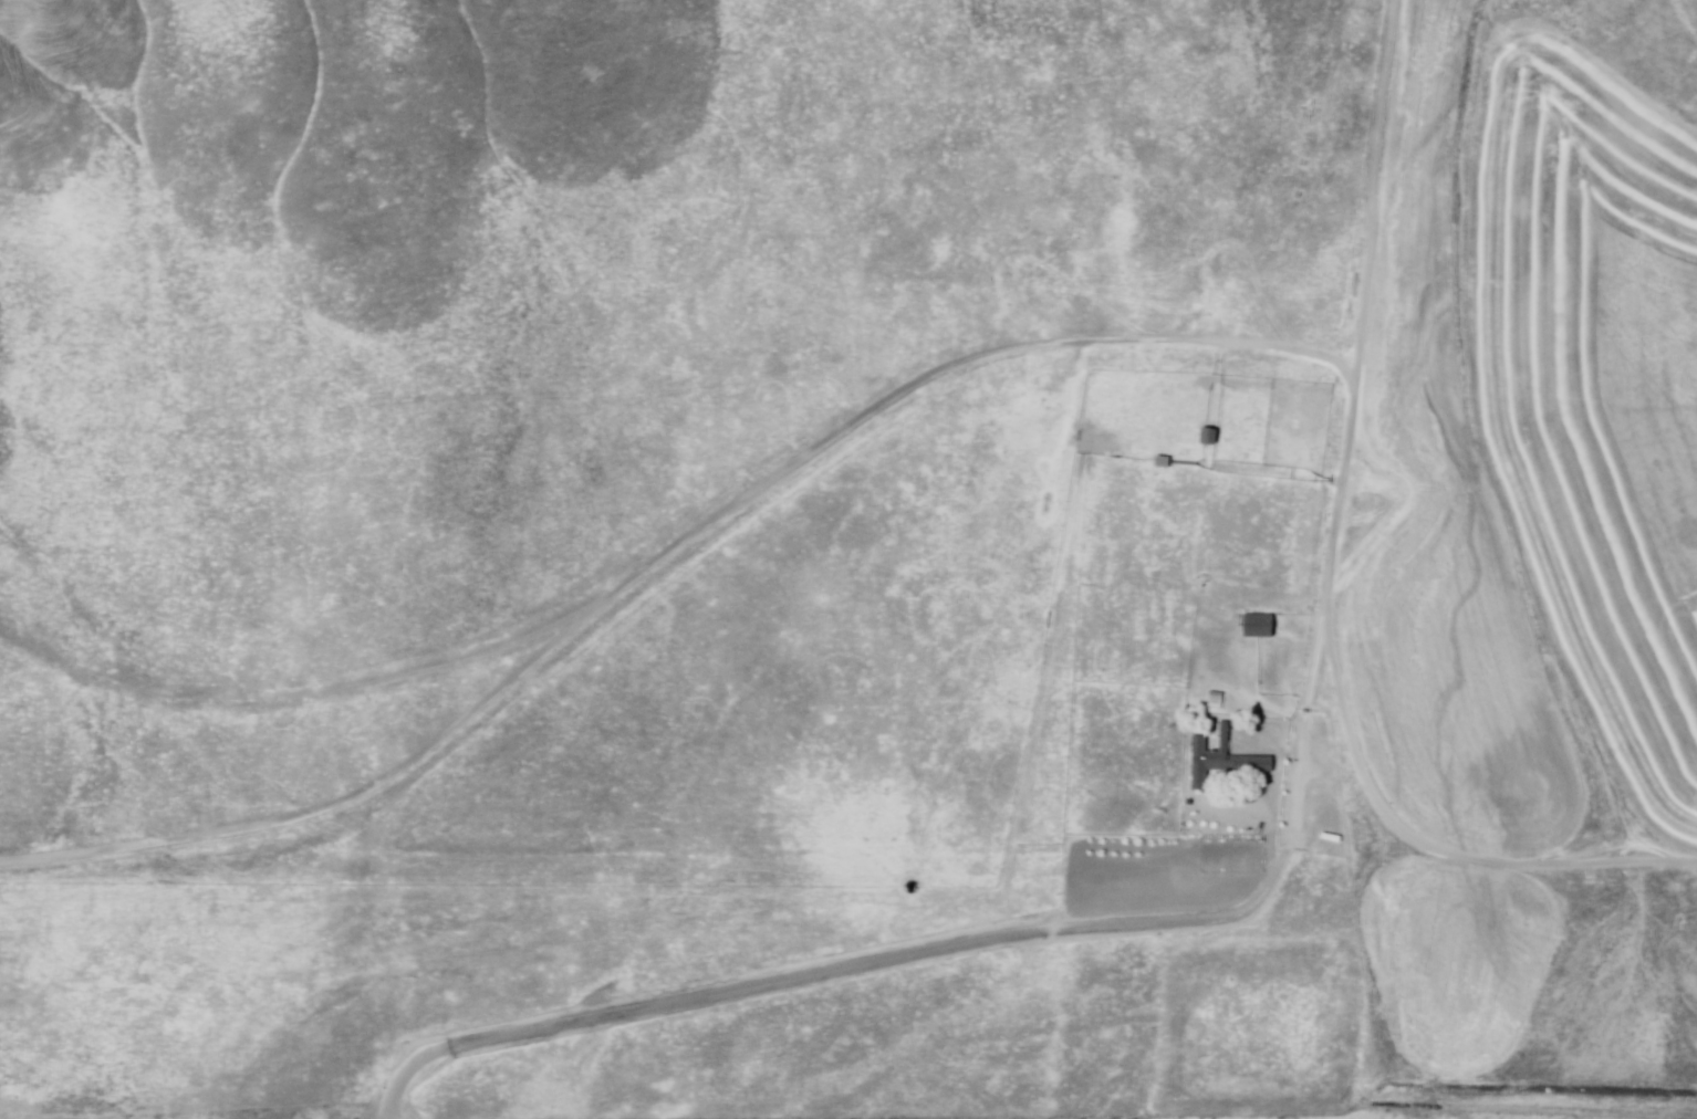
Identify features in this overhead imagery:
building: (1212, 437)
building: (1166, 462)
road: (669, 566)
building: (1262, 628)
building: (1217, 698)
building: (1225, 760)
road: (1420, 840)
road: (1251, 901)

